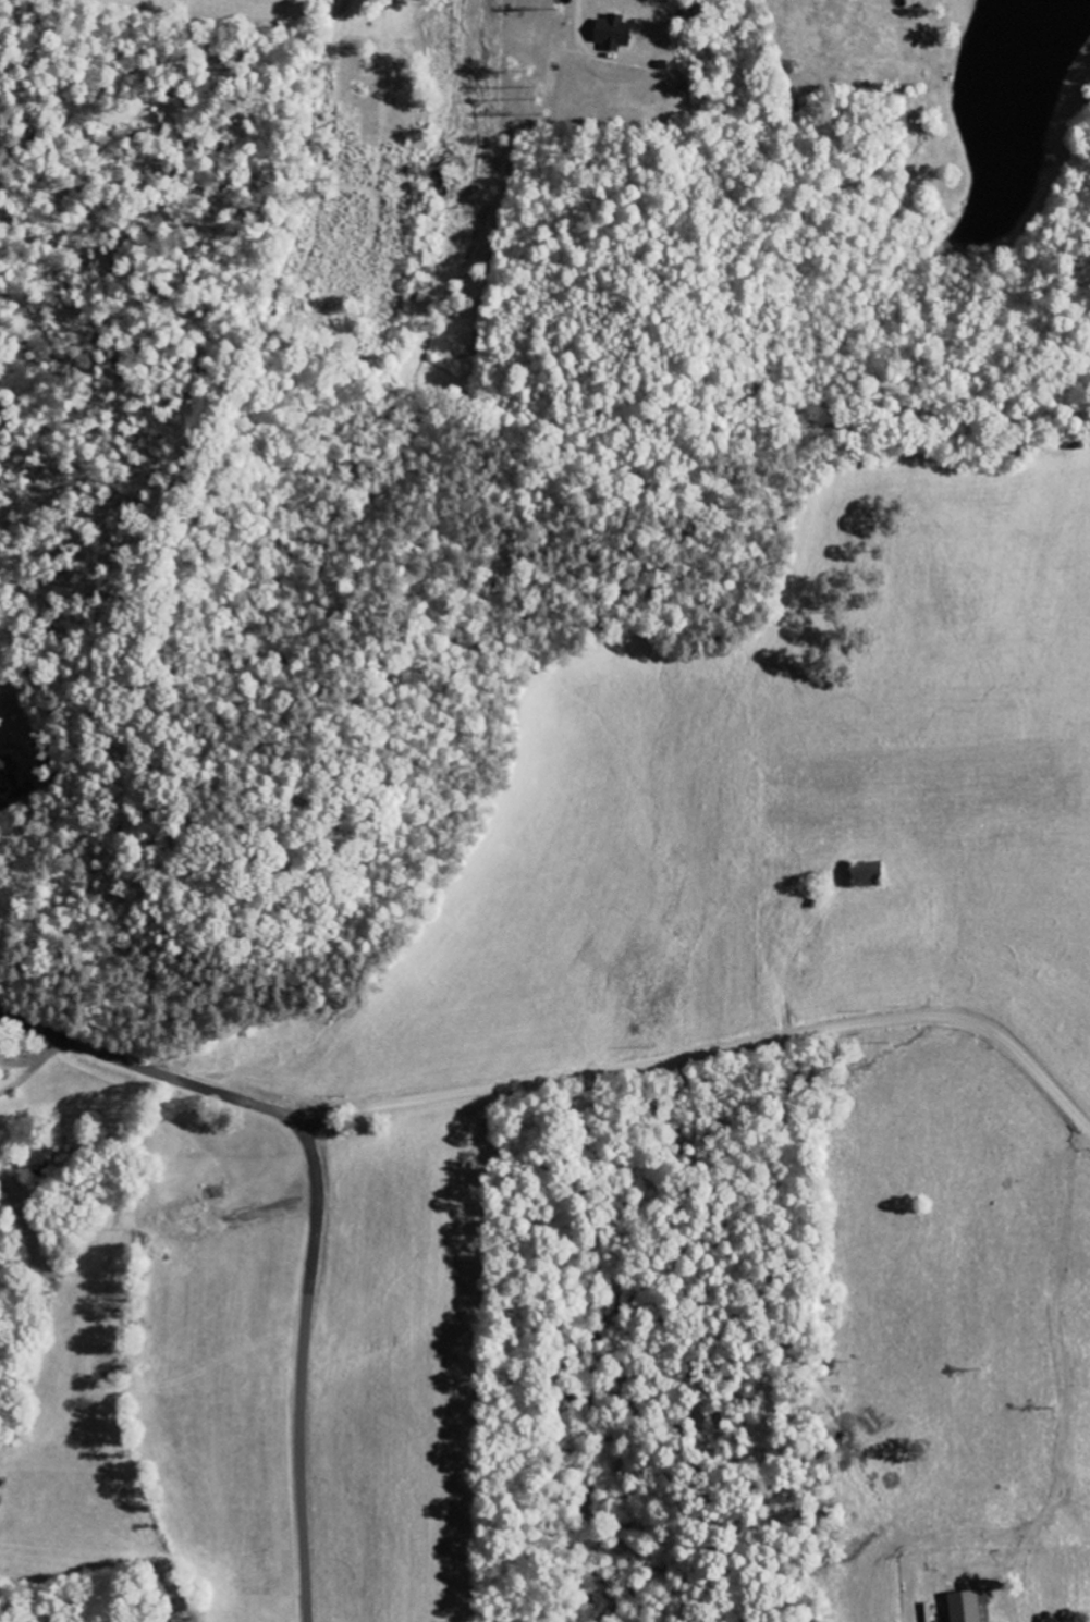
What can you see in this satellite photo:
building: (614, 32)
building: (7, 777)
road: (856, 812)
building: (869, 873)
road: (555, 1079)
road: (303, 1364)
building: (968, 1606)

